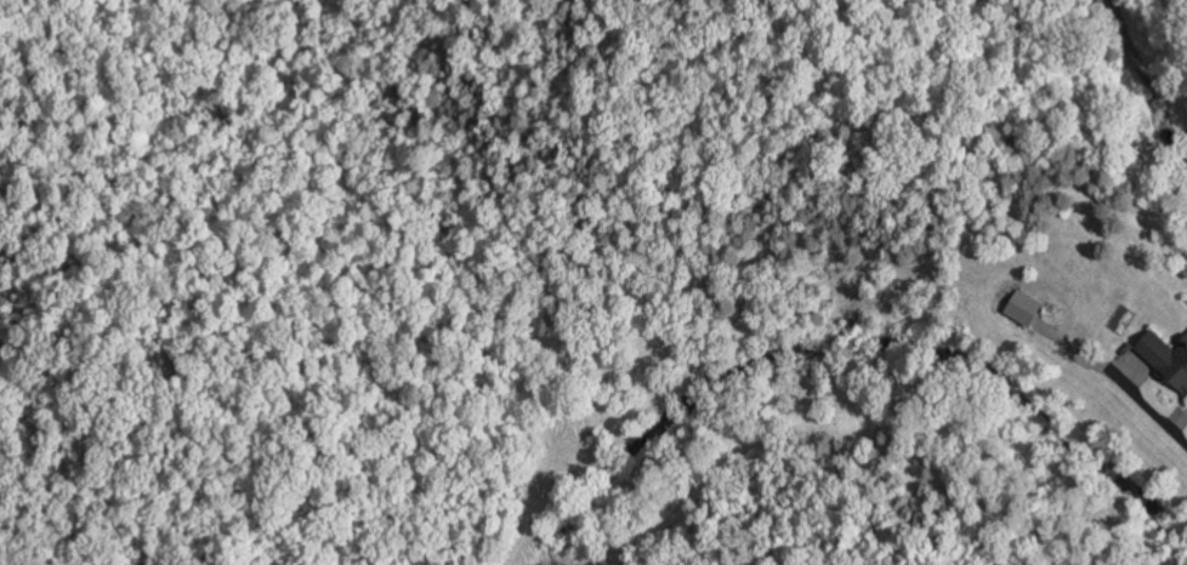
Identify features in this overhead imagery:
building: (1023, 306)
building: (1166, 355)
road: (1152, 369)
road: (1134, 370)
road: (1113, 377)
road: (1186, 410)
road: (1179, 421)

